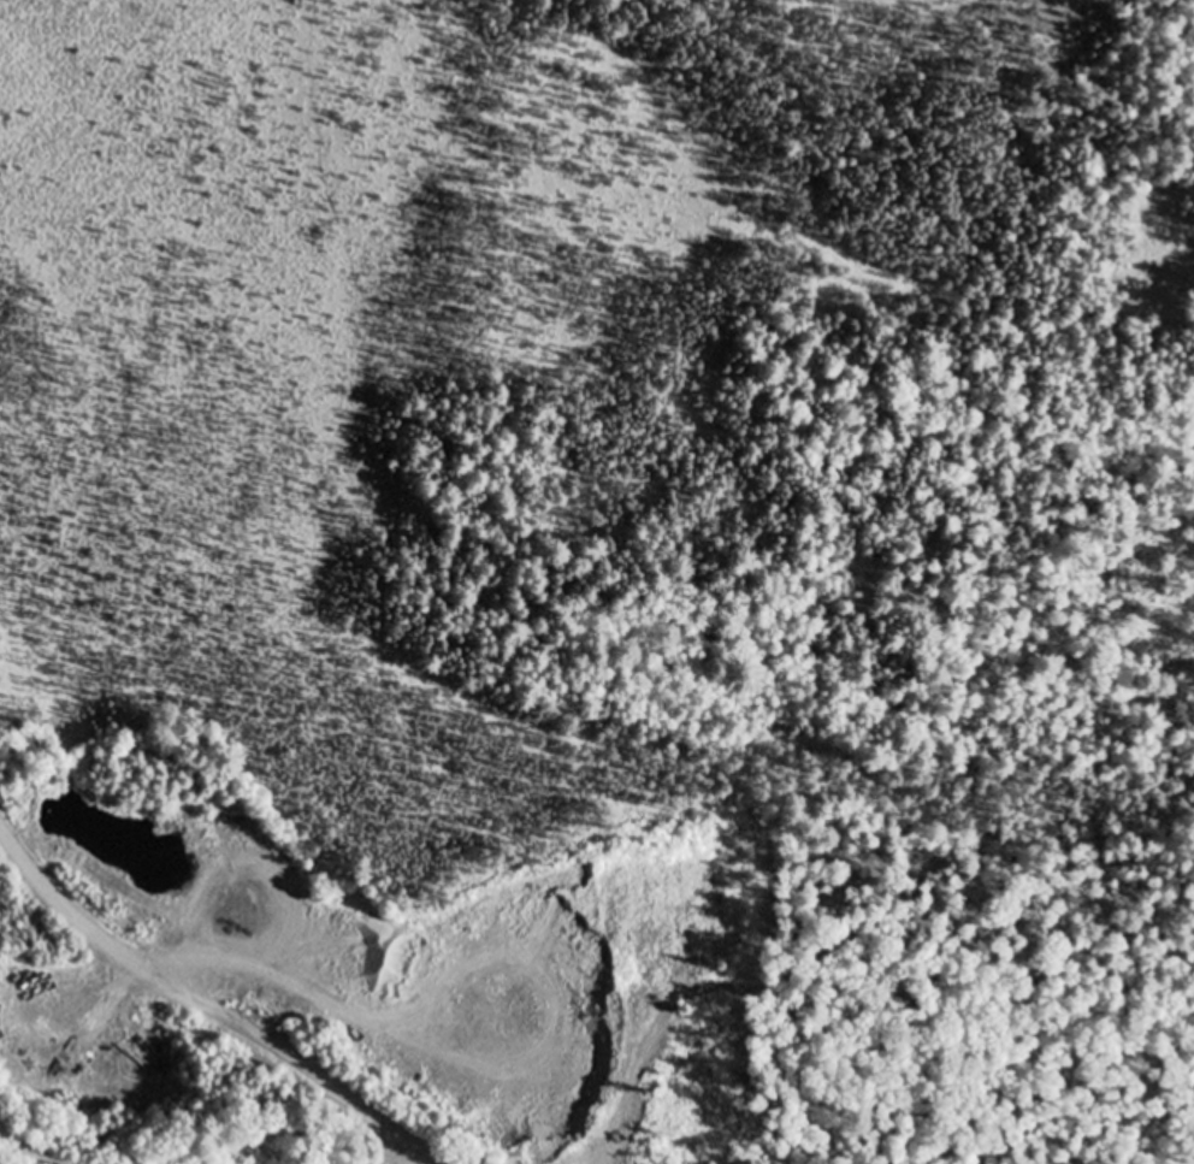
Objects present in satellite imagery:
road: (207, 1015)

